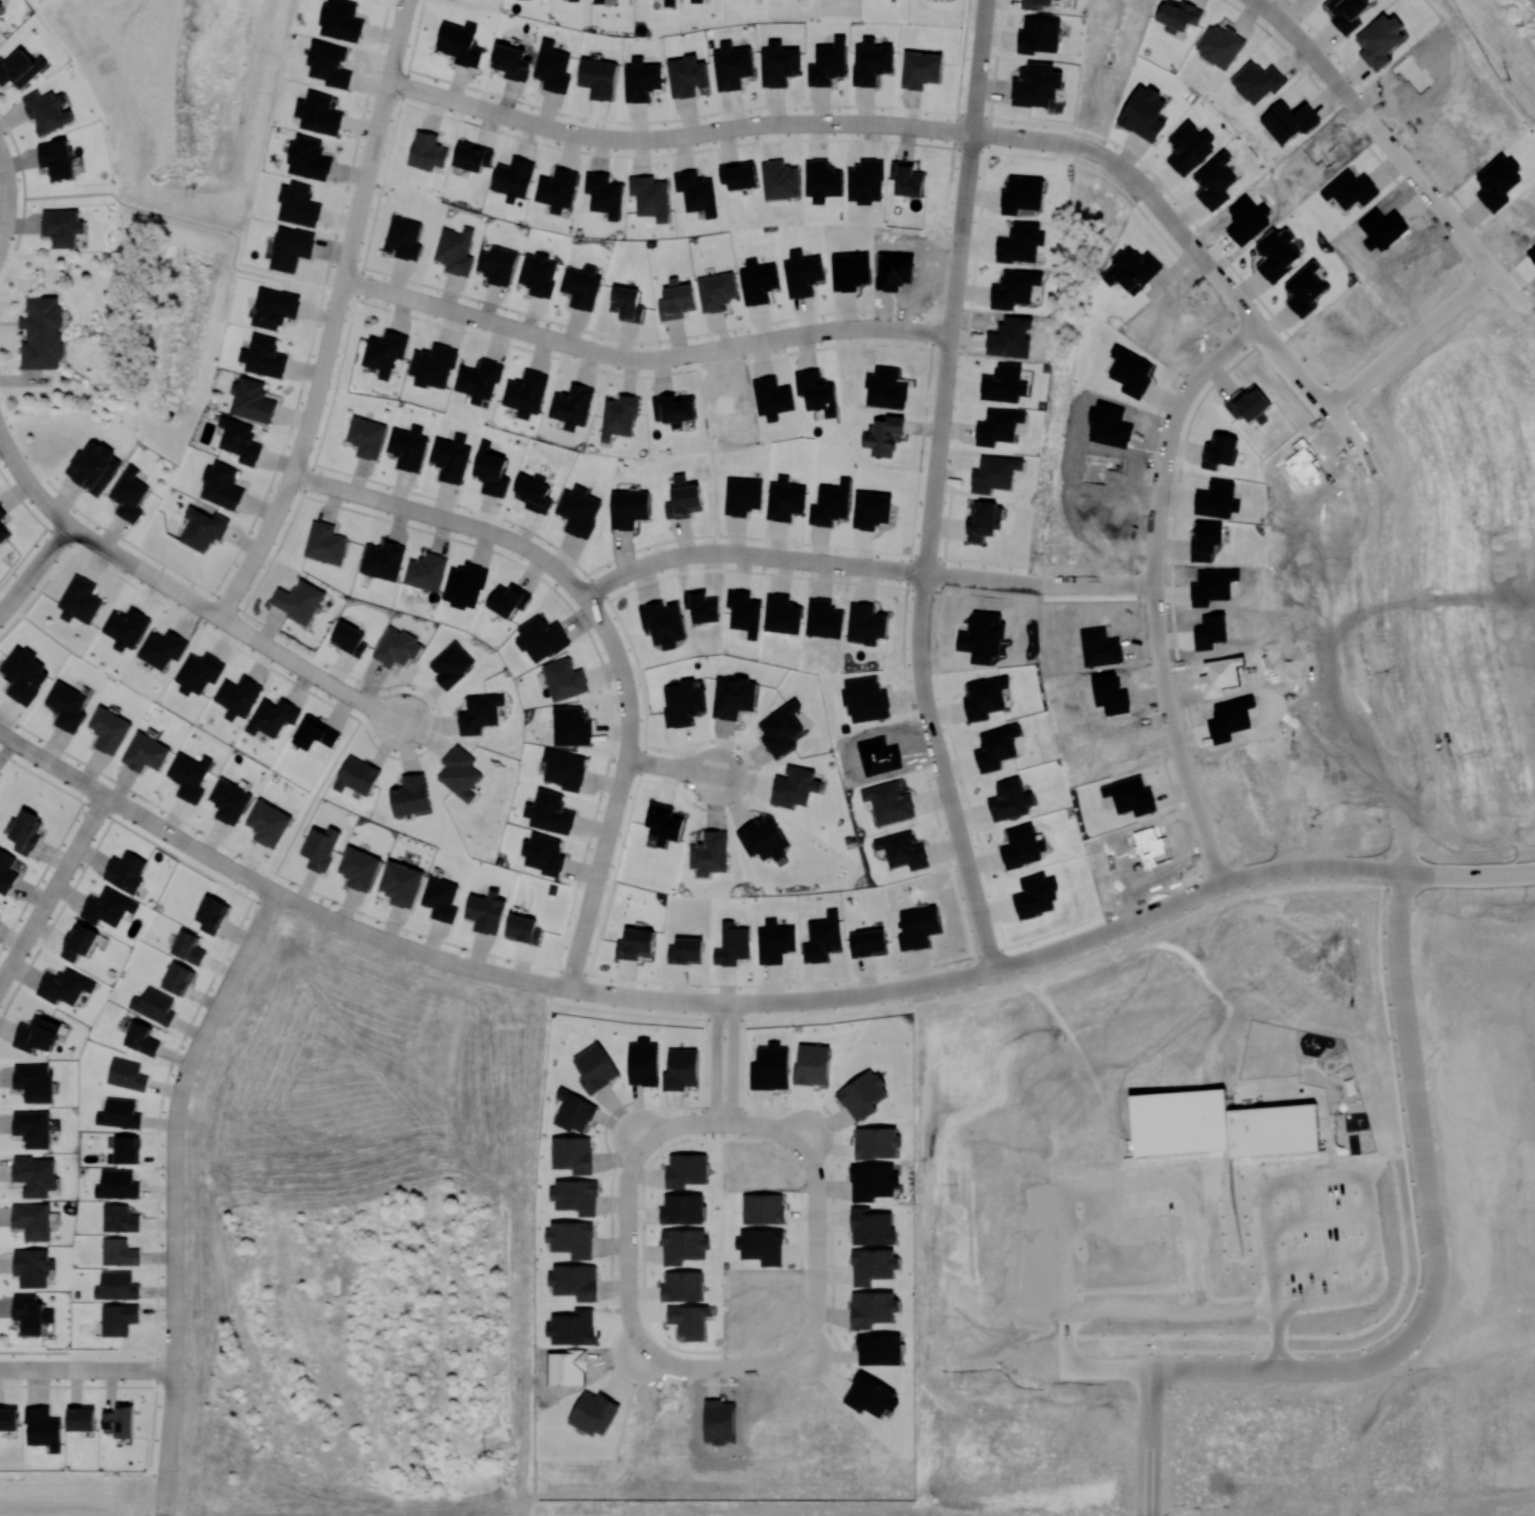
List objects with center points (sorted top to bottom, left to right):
building: (573, 0)
building: (598, 1)
building: (696, 1)
building: (669, 2)
building: (1035, 3)
building: (0, 4)
building: (1346, 13)
building: (1179, 15)
building: (341, 20)
building: (1039, 35)
building: (1380, 40)
building: (460, 43)
building: (1219, 45)
park: (1491, 51)
building: (871, 61)
building: (511, 62)
building: (828, 63)
building: (329, 64)
building: (779, 64)
building: (732, 66)
building: (552, 67)
building: (20, 68)
building: (920, 69)
building: (598, 77)
building: (687, 77)
power tower: (1509, 79)
building: (641, 80)
building: (1036, 85)
road: (428, 93)
road: (472, 105)
road: (973, 107)
building: (48, 111)
building: (319, 113)
building: (1143, 113)
road: (872, 123)
road: (550, 126)
road: (1378, 131)
road: (649, 137)
road: (375, 144)
road: (1087, 148)
building: (1189, 148)
building: (427, 151)
building: (472, 156)
building: (56, 158)
building: (309, 158)
road: (1122, 167)
road: (5, 171)
building: (738, 174)
building: (513, 178)
building: (906, 179)
building: (780, 180)
building: (822, 180)
road: (22, 181)
building: (865, 181)
building: (1214, 181)
park: (172, 187)
building: (557, 189)
building: (696, 192)
building: (1021, 193)
building: (603, 194)
building: (650, 196)
road: (7, 199)
building: (299, 204)
road: (1163, 210)
road: (190, 220)
road: (4, 223)
road: (961, 224)
building: (62, 227)
park: (1085, 236)
building: (403, 238)
building: (1020, 243)
building: (291, 248)
building: (455, 250)
building: (497, 264)
building: (850, 270)
building: (802, 273)
building: (538, 274)
building: (581, 286)
building: (1014, 288)
road: (1515, 289)
road: (381, 290)
building: (716, 291)
road: (340, 294)
building: (676, 300)
road: (422, 302)
road: (319, 303)
building: (627, 303)
building: (274, 308)
road: (1534, 313)
road: (1257, 323)
road: (849, 327)
building: (42, 332)
road: (1414, 336)
road: (555, 339)
road: (746, 343)
road: (720, 348)
building: (384, 352)
road: (693, 352)
building: (264, 356)
building: (432, 366)
road: (608, 371)
building: (478, 380)
building: (1003, 383)
building: (817, 391)
building: (525, 393)
building: (772, 397)
building: (252, 400)
building: (572, 406)
building: (673, 409)
building: (619, 416)
building: (998, 426)
building: (366, 437)
building: (885, 437)
road: (1354, 437)
building: (240, 440)
building: (408, 447)
park: (707, 449)
road: (8, 451)
building: (451, 458)
road: (314, 460)
road: (295, 464)
building: (94, 467)
building: (491, 470)
building: (992, 474)
road: (24, 477)
road: (330, 485)
building: (222, 486)
building: (534, 493)
building: (129, 494)
road: (373, 498)
building: (785, 499)
building: (831, 504)
building: (629, 508)
building: (578, 511)
building: (1, 513)
building: (983, 520)
road: (73, 528)
building: (203, 529)
building: (3, 533)
building: (325, 543)
road: (926, 549)
road: (531, 551)
road: (714, 552)
road: (690, 554)
building: (383, 560)
road: (130, 562)
road: (872, 567)
road: (34, 568)
building: (426, 571)
road: (1031, 582)
road: (1044, 583)
road: (1106, 583)
building: (464, 585)
road: (177, 590)
road: (1161, 593)
building: (79, 600)
building: (508, 600)
building: (298, 601)
building: (782, 614)
building: (662, 622)
building: (865, 623)
building: (125, 628)
building: (349, 638)
building: (541, 638)
building: (396, 647)
building: (162, 648)
road: (291, 659)
building: (451, 664)
building: (198, 673)
building: (24, 675)
road: (1383, 675)
building: (564, 679)
building: (733, 696)
building: (237, 697)
building: (985, 697)
building: (865, 699)
building: (683, 702)
road: (368, 705)
building: (66, 706)
building: (479, 712)
road: (385, 715)
building: (272, 717)
building: (571, 726)
building: (781, 729)
building: (109, 730)
road: (628, 731)
building: (315, 733)
building: (997, 747)
building: (145, 753)
road: (419, 754)
road: (672, 766)
building: (565, 769)
building: (459, 772)
building: (357, 776)
building: (189, 777)
road: (89, 786)
building: (794, 787)
building: (410, 794)
road: (314, 795)
park: (313, 800)
building: (1010, 800)
building: (229, 801)
building: (889, 802)
building: (550, 812)
building: (664, 822)
building: (268, 823)
road: (133, 830)
building: (26, 832)
building: (763, 838)
road: (183, 841)
building: (1022, 846)
building: (320, 848)
building: (902, 850)
building: (709, 853)
building: (544, 854)
road: (223, 863)
road: (65, 866)
road: (1358, 867)
building: (359, 868)
building: (7, 871)
building: (125, 871)
road: (970, 872)
road: (1470, 876)
road: (1330, 882)
building: (401, 883)
road: (595, 883)
road: (267, 887)
road: (1208, 891)
building: (1035, 896)
building: (441, 899)
building: (108, 907)
building: (486, 911)
building: (211, 914)
building: (918, 927)
road: (984, 927)
building: (523, 929)
building: (823, 937)
road: (580, 939)
building: (79, 941)
building: (775, 941)
building: (868, 942)
building: (635, 943)
building: (732, 944)
building: (188, 947)
road: (410, 947)
road: (19, 949)
building: (686, 950)
road: (525, 963)
road: (1012, 963)
road: (6, 971)
building: (178, 978)
building: (64, 986)
road: (561, 986)
road: (833, 997)
road: (661, 999)
building: (154, 1005)
building: (36, 1034)
building: (141, 1038)
building: (643, 1062)
road: (732, 1063)
road: (715, 1064)
building: (812, 1065)
building: (770, 1067)
building: (595, 1068)
building: (681, 1069)
building: (127, 1074)
building: (34, 1081)
building: (862, 1094)
building: (574, 1111)
building: (119, 1113)
road: (1420, 1120)
road: (627, 1121)
road: (817, 1125)
building: (1219, 1125)
building: (32, 1128)
building: (877, 1142)
building: (126, 1149)
building: (573, 1154)
road: (174, 1169)
building: (686, 1170)
building: (35, 1175)
road: (1352, 1177)
building: (873, 1181)
building: (117, 1184)
road: (1123, 1185)
building: (576, 1196)
building: (682, 1208)
building: (763, 1208)
building: (119, 1218)
building: (32, 1220)
building: (872, 1227)
building: (571, 1238)
building: (683, 1245)
building: (761, 1245)
road: (816, 1245)
road: (627, 1246)
building: (118, 1252)
building: (873, 1265)
building: (32, 1267)
building: (574, 1280)
building: (682, 1285)
building: (116, 1286)
building: (873, 1308)
road: (1177, 1311)
building: (31, 1313)
building: (118, 1319)
building: (572, 1327)
building: (879, 1349)
road: (622, 1352)
road: (32, 1368)
road: (68, 1368)
road: (817, 1368)
road: (1108, 1368)
road: (122, 1369)
road: (653, 1370)
road: (1274, 1371)
road: (637, 1373)
building: (871, 1395)
building: (594, 1412)
building: (9, 1417)
building: (81, 1418)
building: (120, 1420)
road: (622, 1426)
building: (43, 1428)
road: (1148, 1443)
park: (721, 1484)
park: (81, 1492)
road: (163, 1492)

